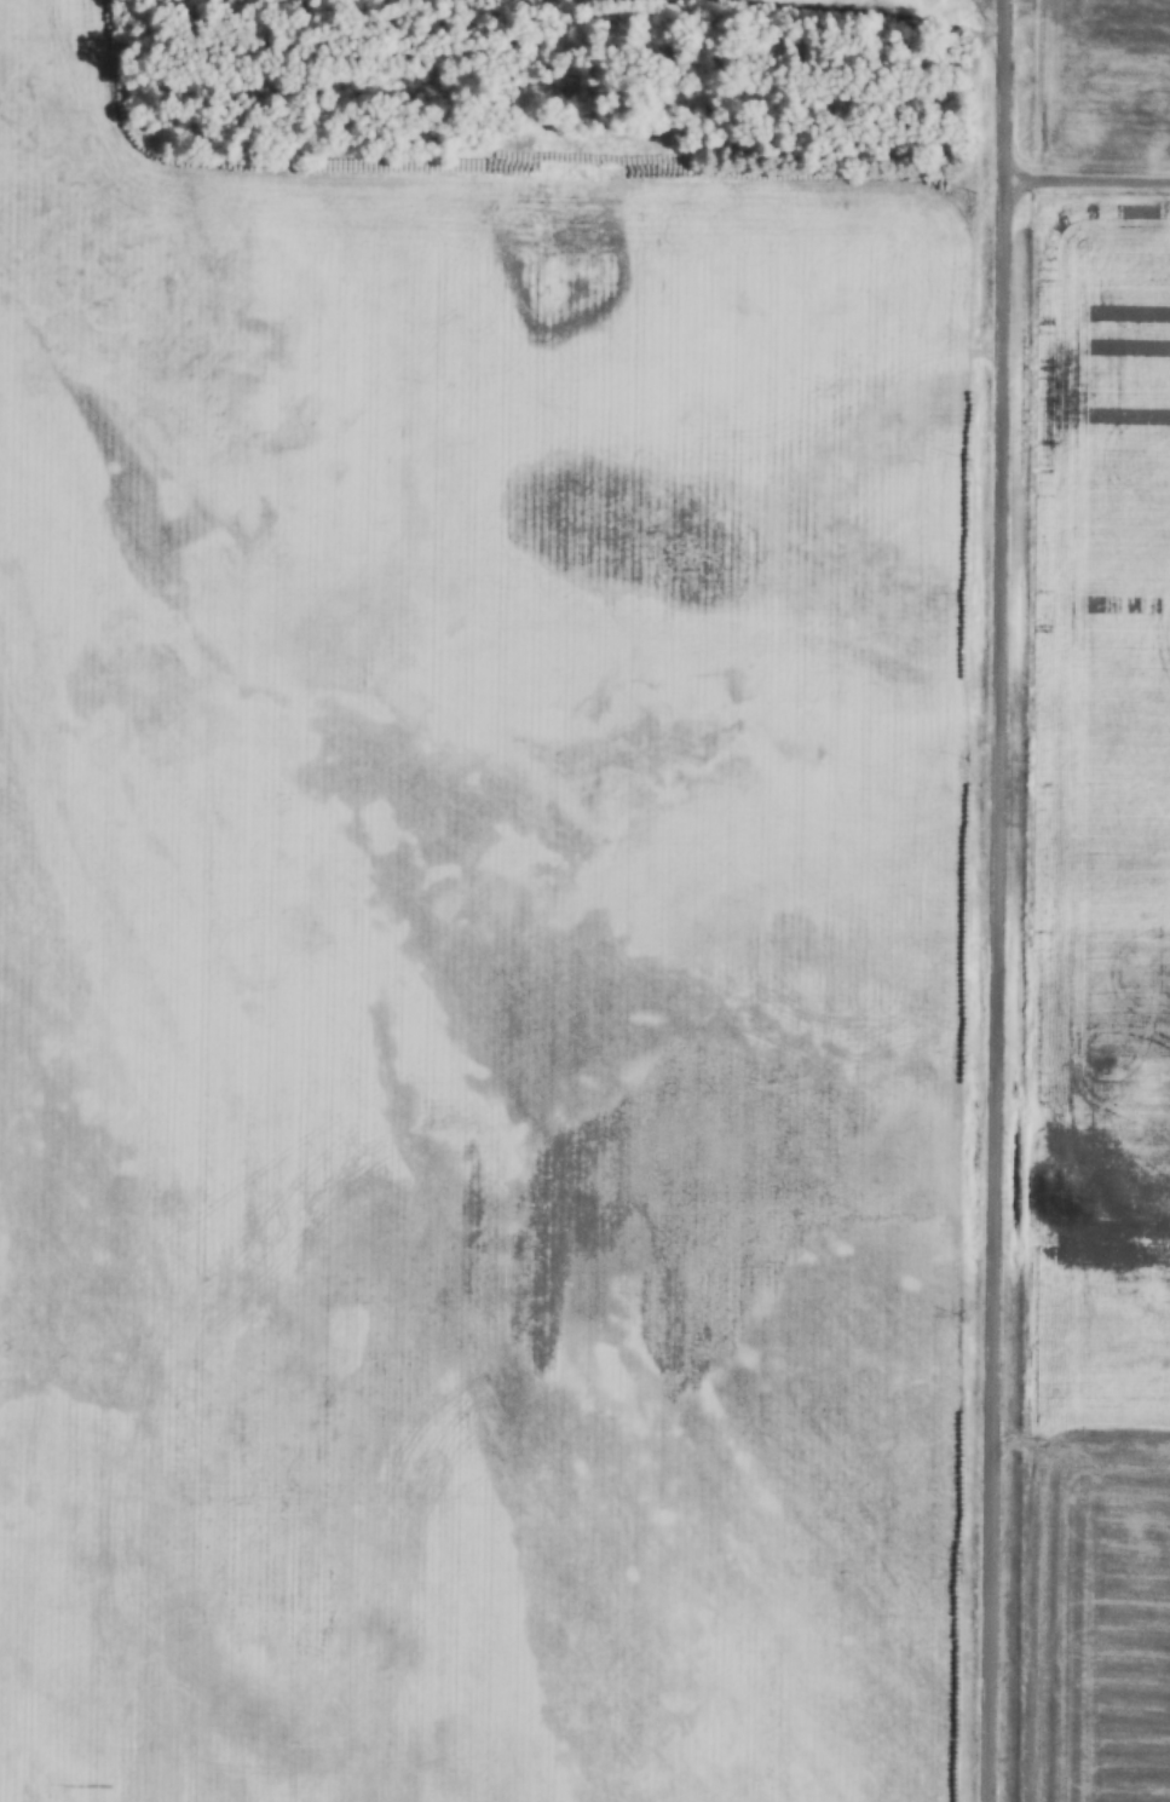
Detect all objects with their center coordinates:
road: (1089, 182)
road: (1001, 900)

